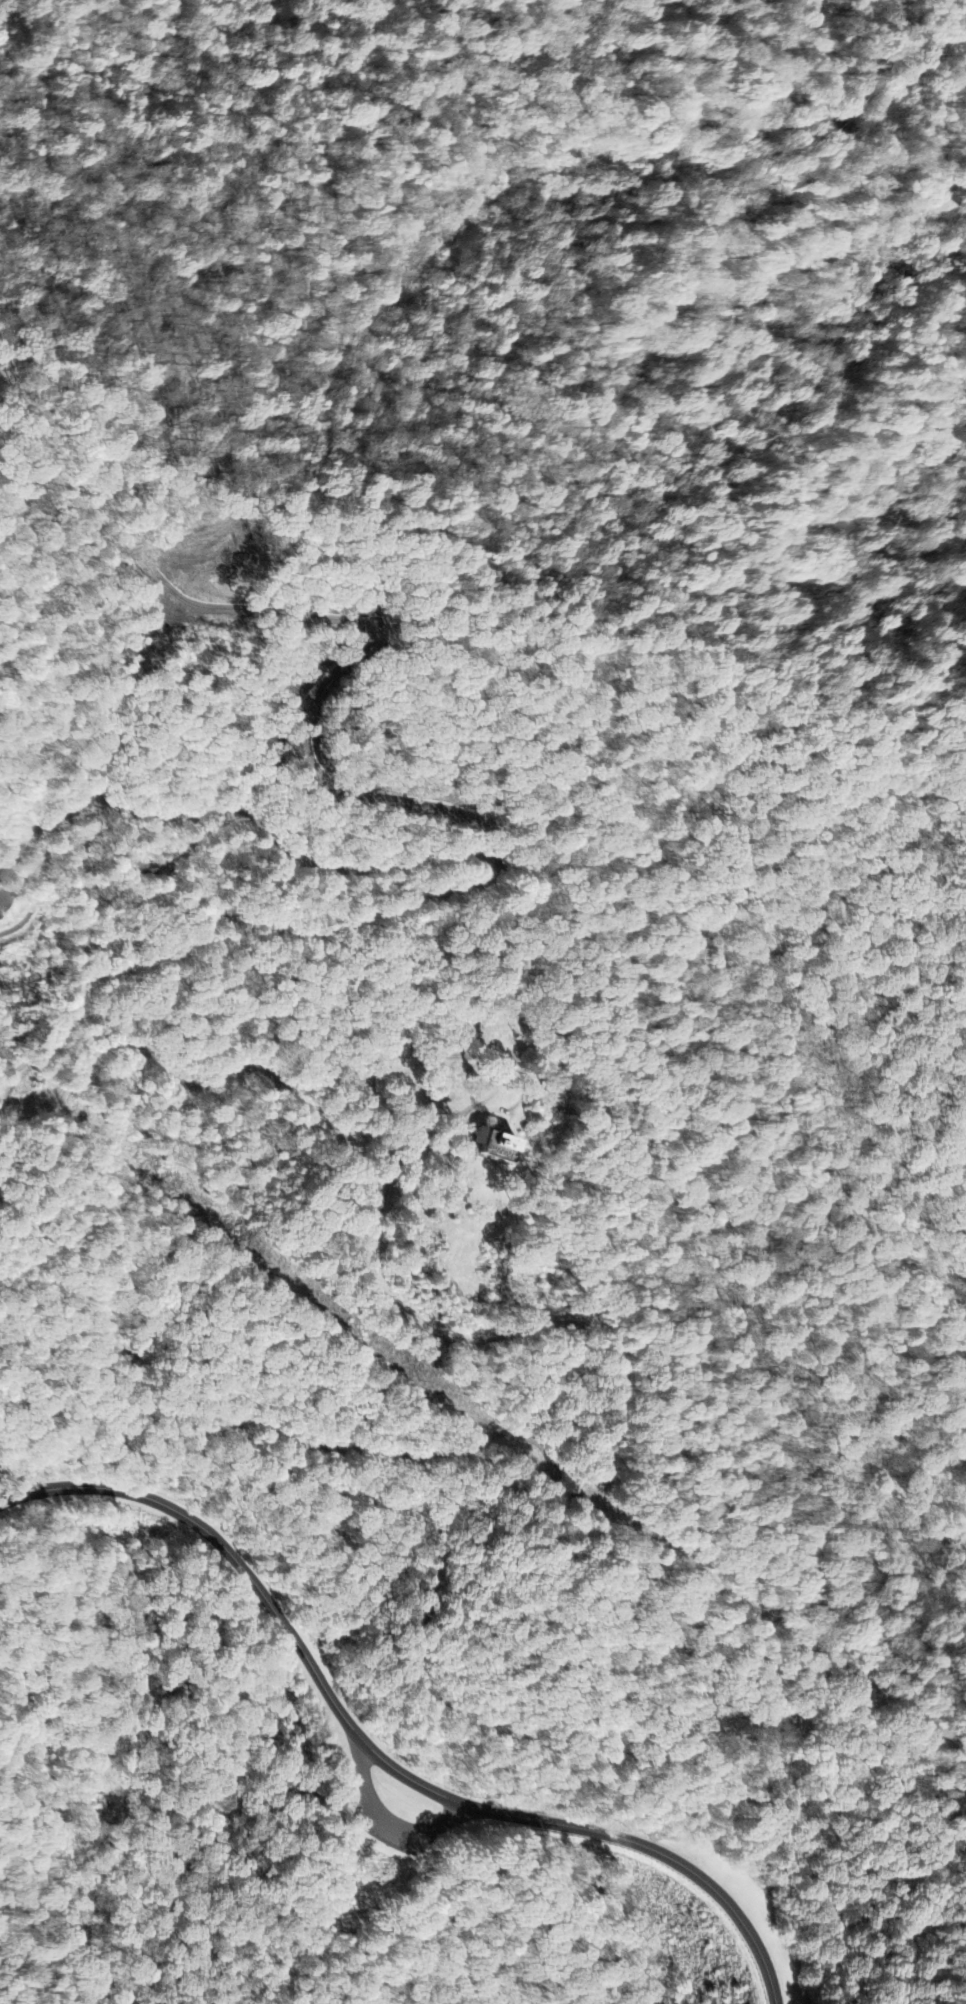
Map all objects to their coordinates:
road: (149, 1060)
building: (493, 1147)
road: (133, 1298)
road: (792, 1349)
road: (591, 1739)
road: (378, 1751)
road: (366, 1795)
road: (384, 1823)
parking lot: (393, 1823)

